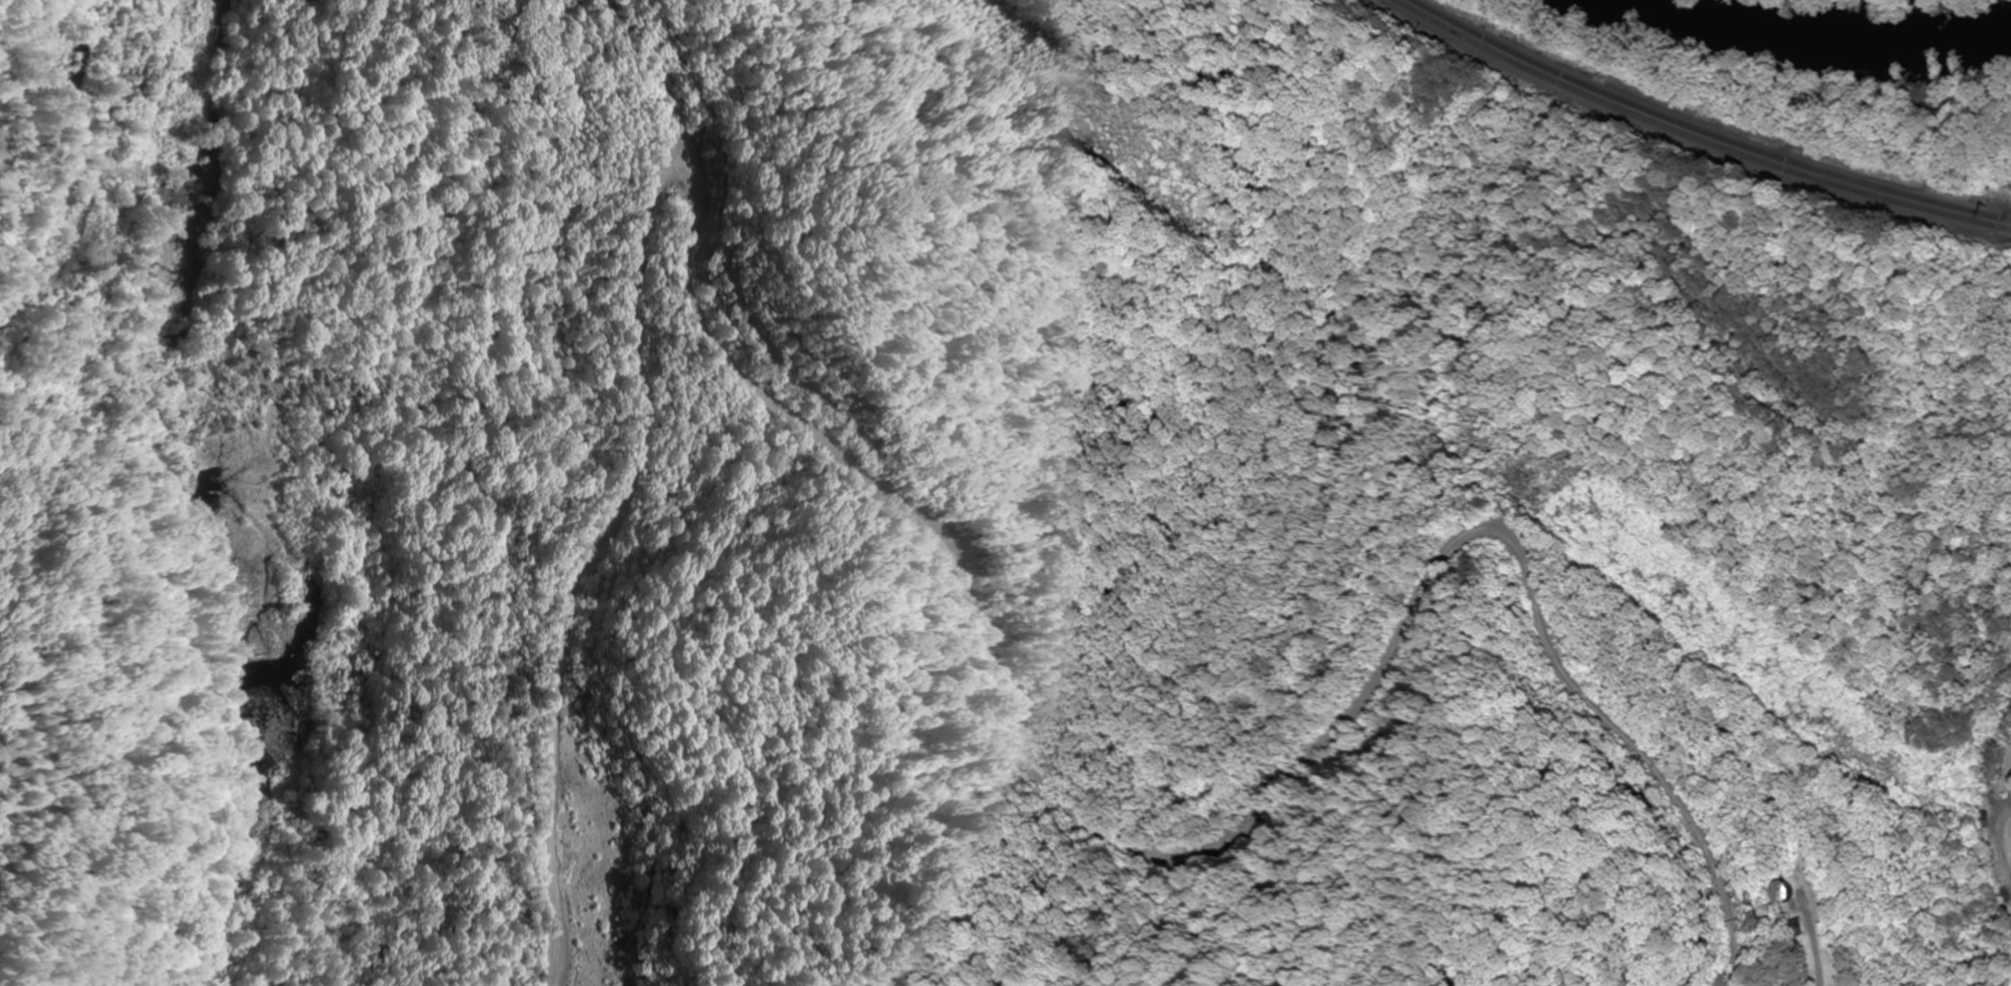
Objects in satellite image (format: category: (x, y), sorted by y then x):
river: (1821, 33)
railway: (1699, 129)
road: (966, 573)
road: (1993, 857)
building: (1784, 893)
building: (1799, 929)

